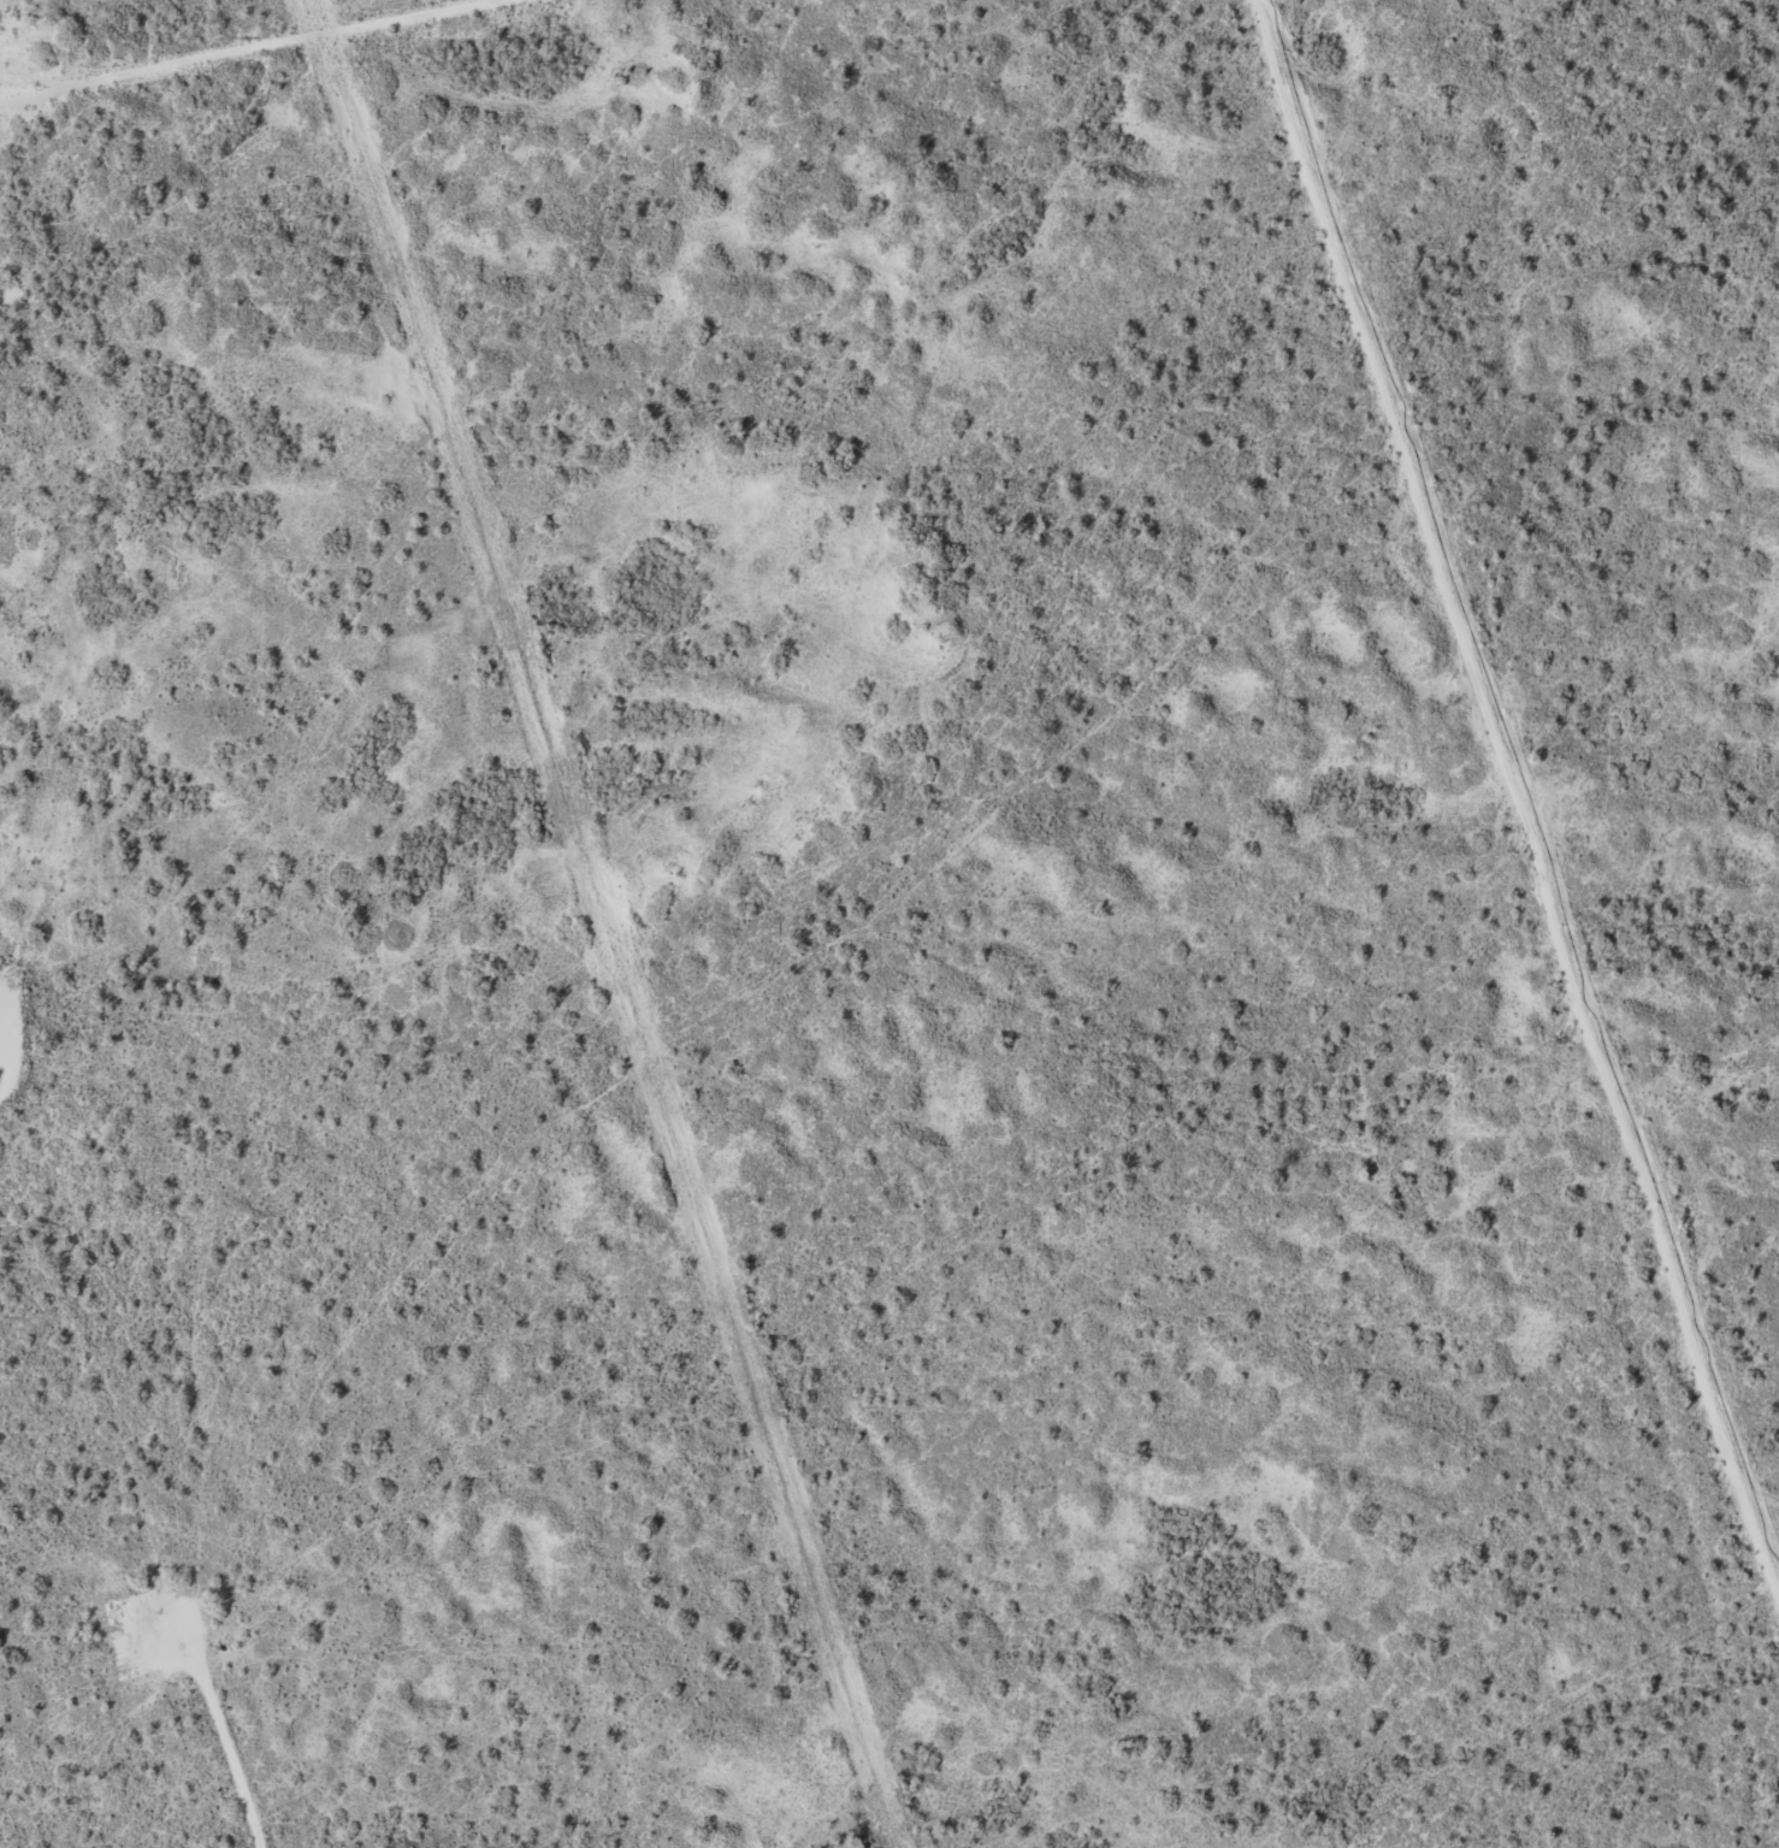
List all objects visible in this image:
road: (297, 52)
road: (1511, 797)
road: (2, 1068)
road: (1571, 1741)

